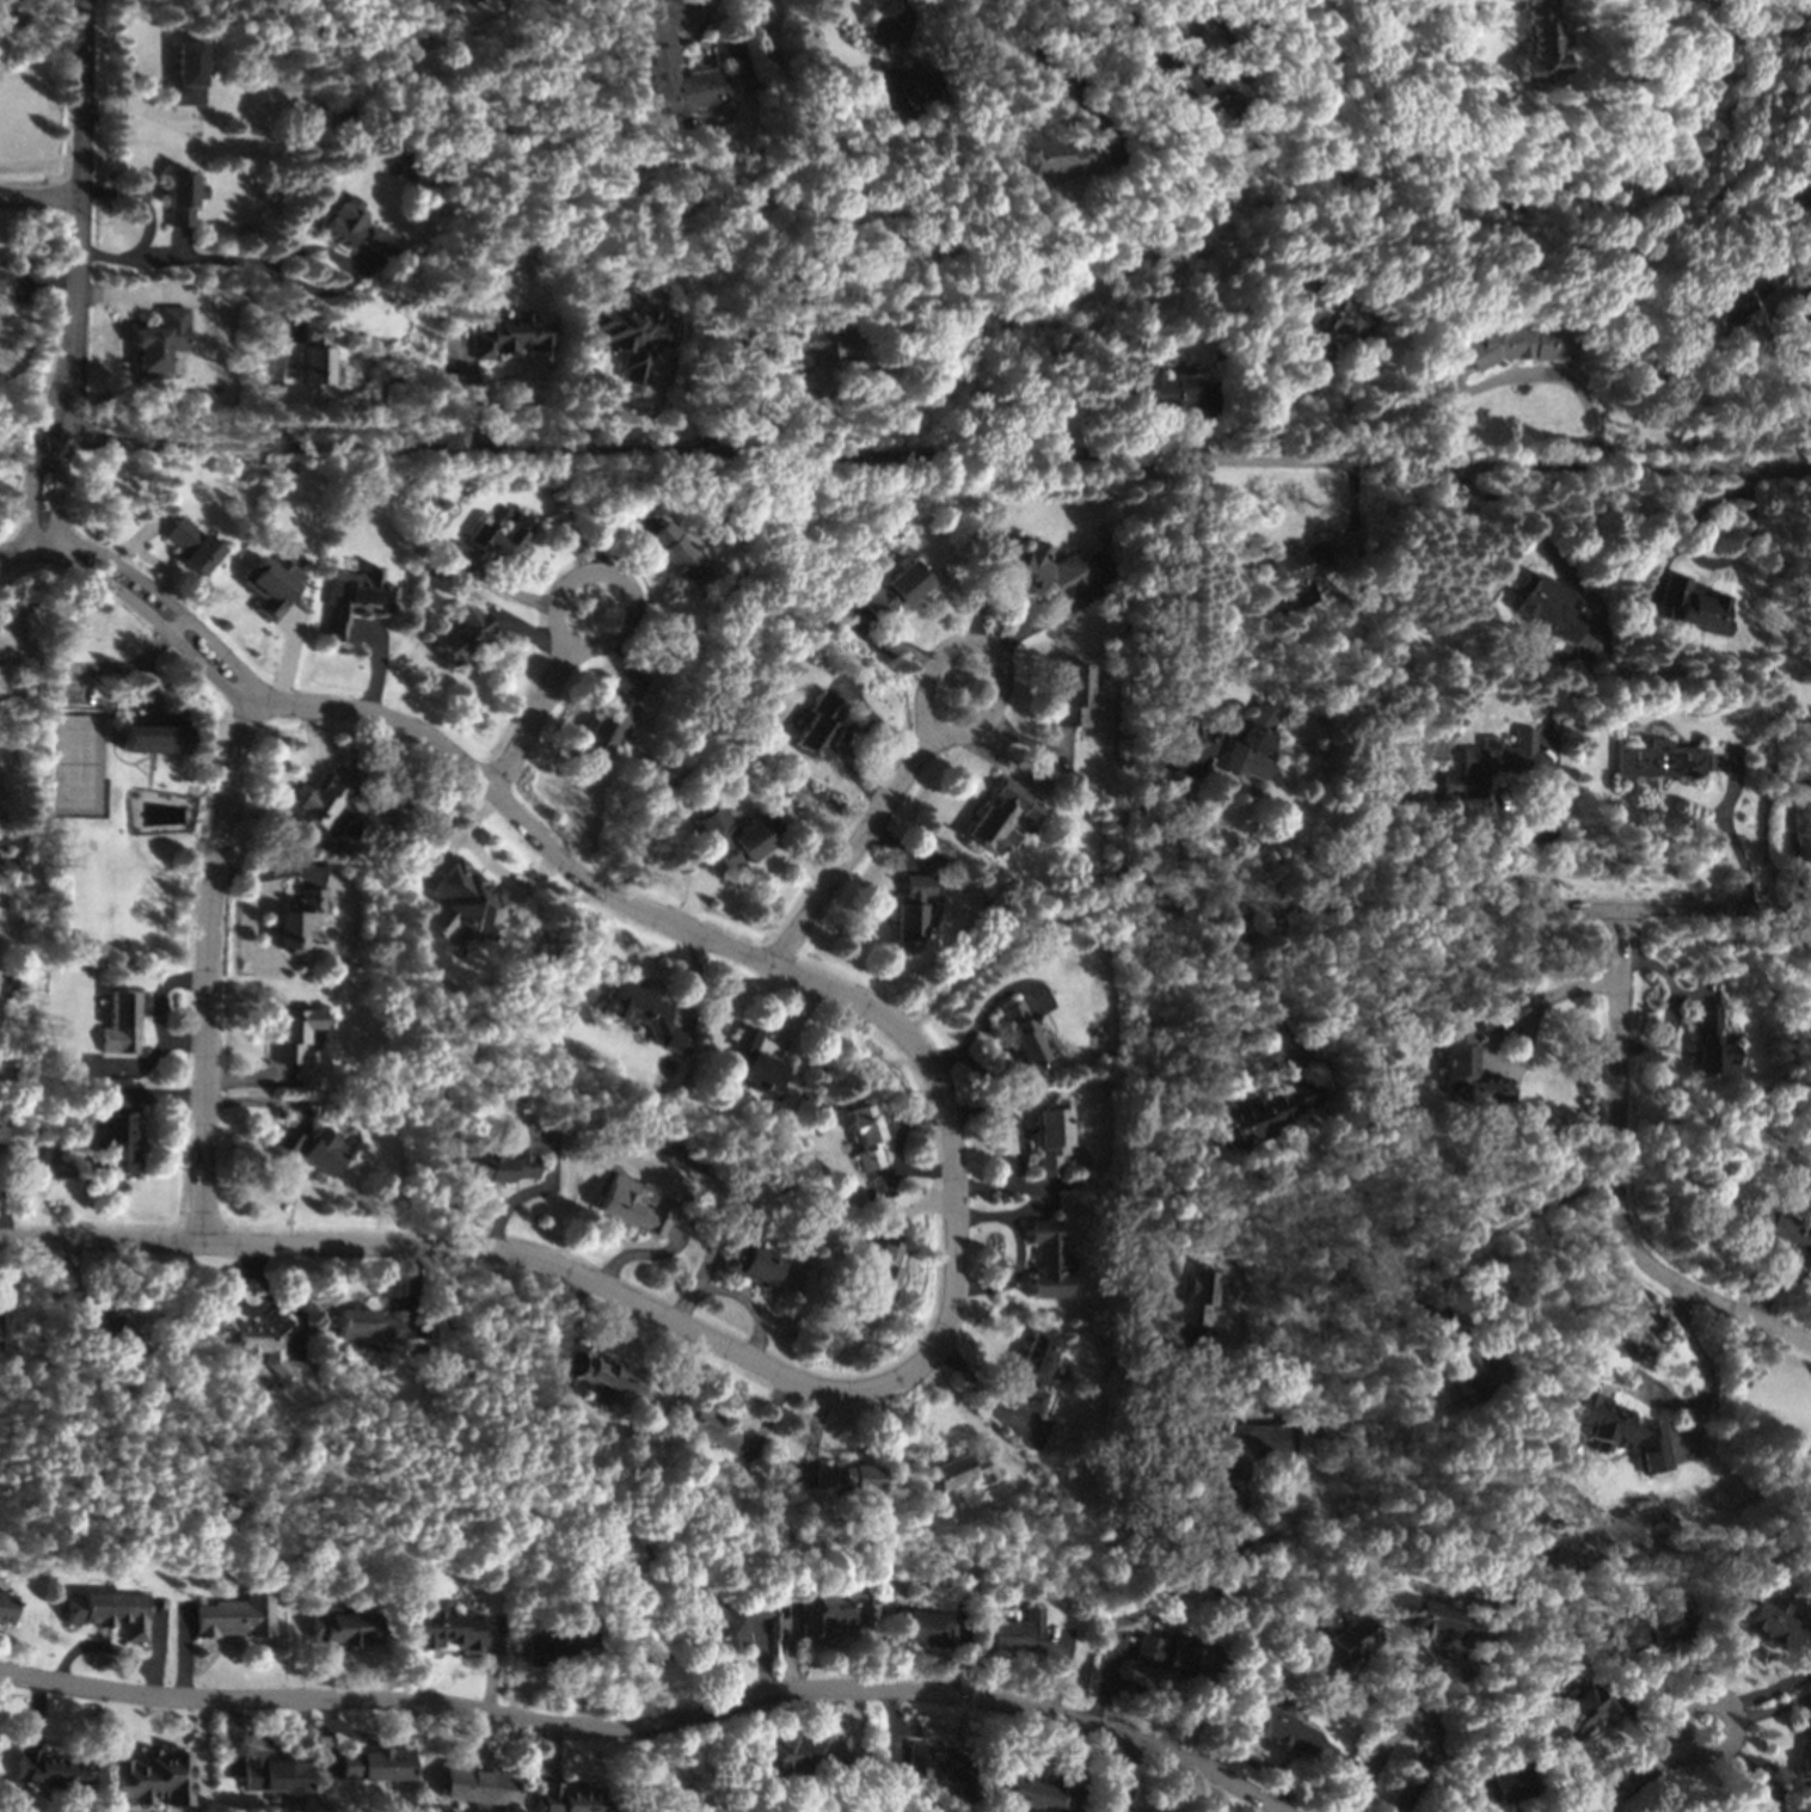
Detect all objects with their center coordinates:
building: (417, 0)
building: (434, 1)
road: (1469, 7)
road: (686, 13)
road: (903, 23)
road: (1112, 25)
building: (1536, 43)
building: (659, 66)
road: (1044, 69)
building: (184, 73)
building: (895, 84)
building: (1207, 94)
building: (1056, 156)
building: (180, 197)
road: (39, 203)
road: (141, 204)
road: (78, 219)
building: (355, 228)
road: (268, 274)
building: (1731, 299)
building: (1326, 312)
building: (626, 334)
building: (510, 336)
building: (156, 342)
building: (1514, 343)
building: (817, 348)
road: (123, 351)
building: (314, 354)
road: (1522, 377)
building: (1154, 388)
road: (1287, 397)
road: (350, 441)
road: (896, 455)
road: (1580, 461)
road: (1799, 468)
road: (31, 493)
road: (57, 497)
building: (499, 534)
building: (190, 545)
road: (32, 553)
building: (676, 553)
building: (1299, 563)
building: (1045, 571)
road: (614, 578)
building: (271, 585)
building: (894, 589)
road: (993, 596)
building: (352, 598)
building: (1689, 606)
building: (1552, 612)
road: (1048, 620)
building: (462, 634)
road: (990, 657)
building: (1073, 695)
road: (348, 710)
road: (529, 718)
building: (603, 724)
building: (817, 725)
building: (149, 735)
building: (1247, 739)
building: (1658, 760)
building: (1491, 761)
road: (296, 786)
building: (323, 794)
building: (1001, 817)
road: (1553, 825)
road: (1729, 835)
building: (733, 836)
road: (1793, 842)
road: (855, 849)
building: (462, 902)
road: (1477, 909)
building: (297, 917)
road: (1011, 939)
road: (762, 957)
road: (204, 969)
road: (1143, 989)
road: (1260, 989)
building: (644, 1014)
building: (118, 1022)
road: (1509, 1026)
building: (1023, 1032)
building: (291, 1033)
building: (1709, 1043)
building: (755, 1062)
building: (1467, 1071)
building: (1264, 1112)
road: (1013, 1119)
building: (865, 1136)
building: (1052, 1136)
building: (115, 1142)
building: (4, 1143)
building: (311, 1148)
building: (510, 1157)
road: (1616, 1184)
building: (633, 1206)
road: (954, 1208)
road: (5, 1214)
road: (986, 1220)
road: (1017, 1222)
road: (1514, 1227)
building: (1779, 1233)
road: (99, 1241)
road: (386, 1247)
building: (1046, 1259)
building: (751, 1263)
building: (883, 1270)
building: (1196, 1297)
building: (364, 1326)
building: (115, 1328)
building: (259, 1340)
road: (735, 1351)
road: (1698, 1353)
building: (1462, 1357)
building: (1033, 1369)
building: (607, 1380)
building: (707, 1427)
building: (1619, 1430)
building: (845, 1476)
building: (958, 1476)
building: (1229, 1482)
building: (5, 1608)
building: (830, 1610)
building: (109, 1613)
building: (718, 1616)
building: (235, 1617)
building: (1443, 1623)
building: (343, 1626)
building: (1774, 1627)
building: (446, 1628)
building: (1652, 1628)
building: (921, 1629)
building: (1013, 1636)
building: (558, 1639)
road: (98, 1646)
building: (1340, 1646)
road: (785, 1647)
road: (154, 1651)
road: (1810, 1651)
road: (183, 1653)
building: (1172, 1656)
road: (296, 1658)
road: (760, 1659)
road: (960, 1661)
road: (1062, 1669)
road: (492, 1670)
road: (1109, 1675)
road: (520, 1676)
road: (1465, 1676)
road: (567, 1684)
road: (1629, 1688)
road: (1772, 1688)
road: (965, 1695)
road: (315, 1699)
road: (1153, 1701)
road: (1367, 1701)
road: (1773, 1709)
road: (35, 1712)
building: (1577, 1714)
road: (1410, 1718)
road: (854, 1725)
building: (1279, 1727)
road: (330, 1732)
road: (900, 1733)
road: (232, 1736)
road: (1637, 1737)
road: (379, 1738)
road: (199, 1740)
road: (284, 1744)
road: (1726, 1745)
building: (1804, 1745)
road: (434, 1746)
road: (486, 1750)
road: (552, 1751)
road: (891, 1751)
building: (797, 1753)
road: (1251, 1761)
road: (1343, 1763)
building: (375, 1764)
building: (934, 1764)
road: (1456, 1764)
road: (1079, 1767)
building: (53, 1771)
road: (1129, 1774)
building: (271, 1775)
building: (152, 1777)
road: (1757, 1777)
road: (1632, 1783)
building: (477, 1786)
building: (1499, 1786)
building: (1027, 1792)
building: (567, 1799)
building: (1752, 1804)
road: (1271, 1810)
road: (1603, 1810)
building: (1105, 1811)

